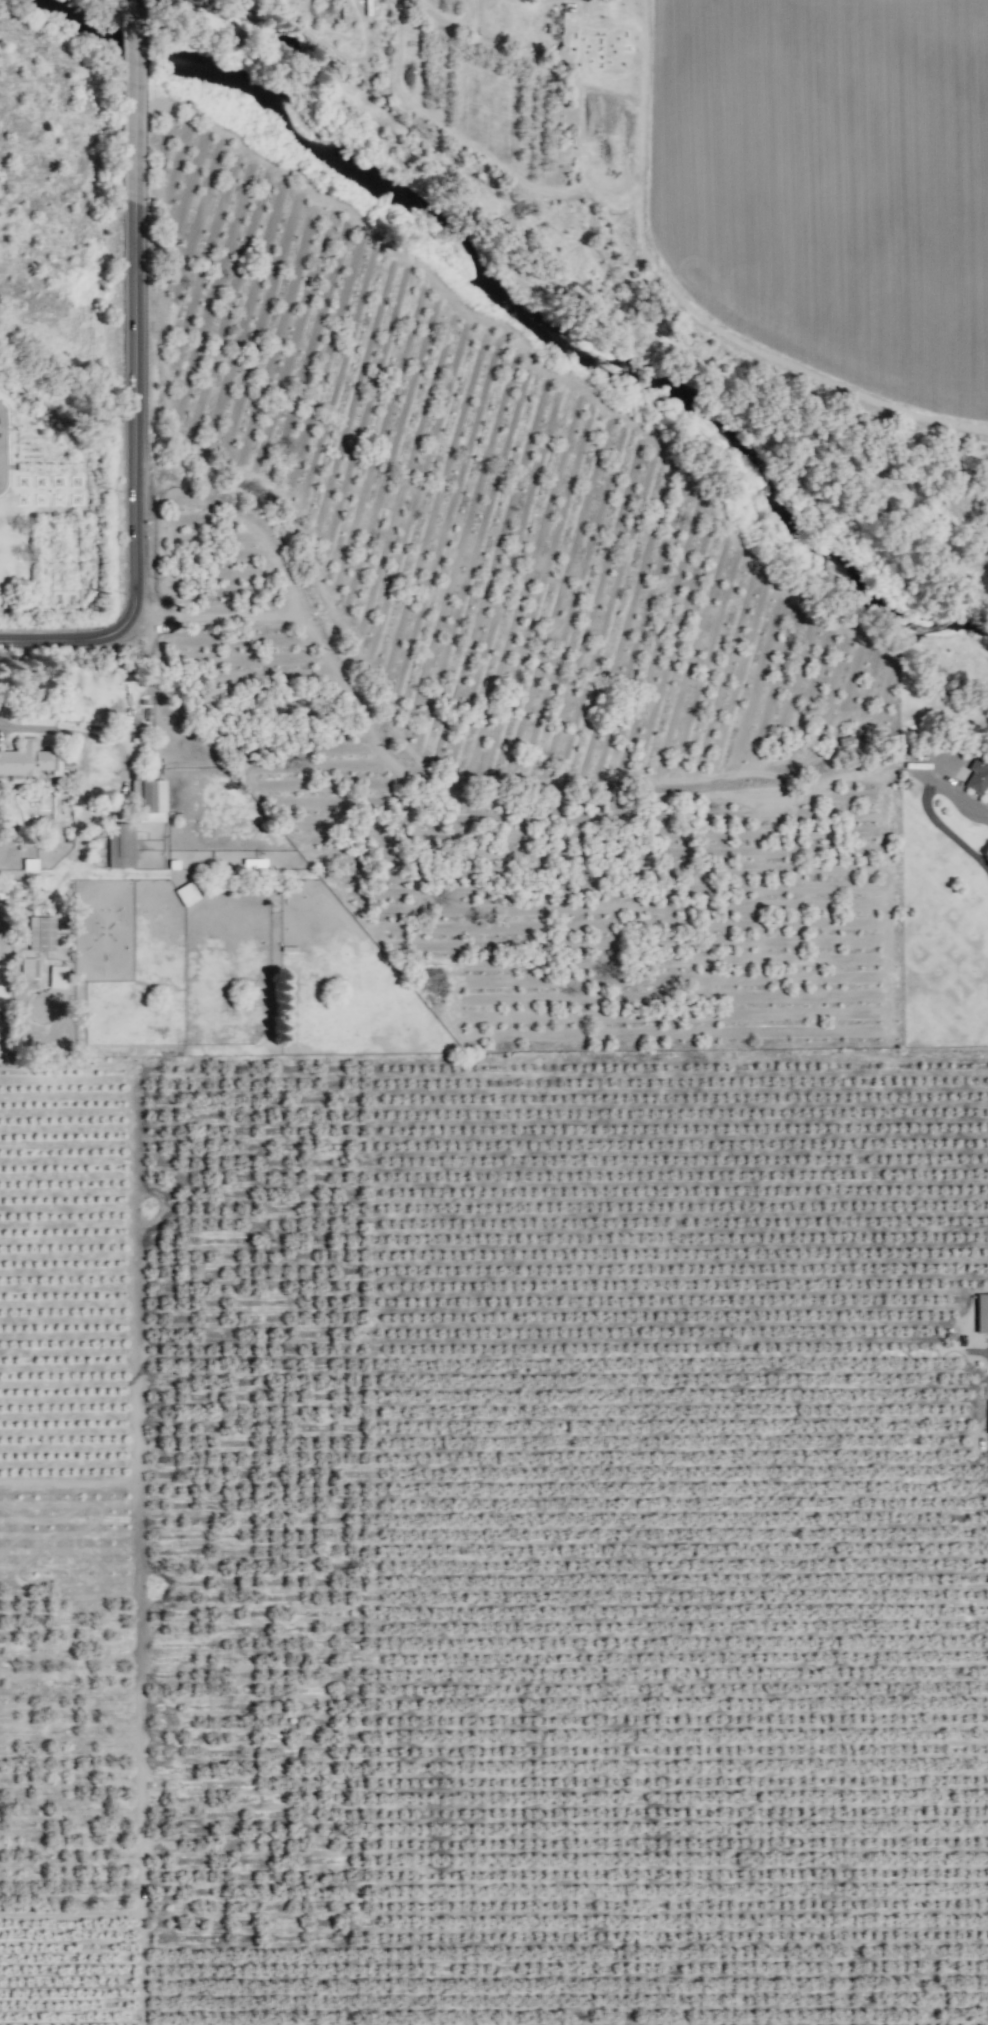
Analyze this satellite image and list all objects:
road: (588, 2)
road: (127, 376)
road: (28, 727)
road: (105, 739)
building: (977, 774)
building: (148, 799)
road: (925, 804)
building: (121, 845)
building: (5, 888)
building: (186, 893)
building: (45, 930)
building: (29, 967)
building: (58, 976)
building: (981, 1312)
building: (987, 1415)

